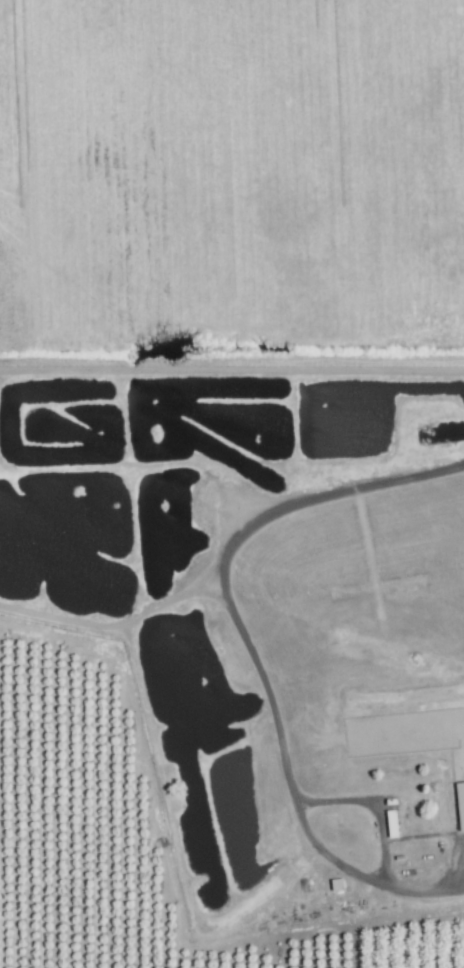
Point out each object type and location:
crop: (232, 187)
road: (250, 652)
building: (460, 804)
road: (372, 805)
building: (391, 823)
crop: (120, 832)

